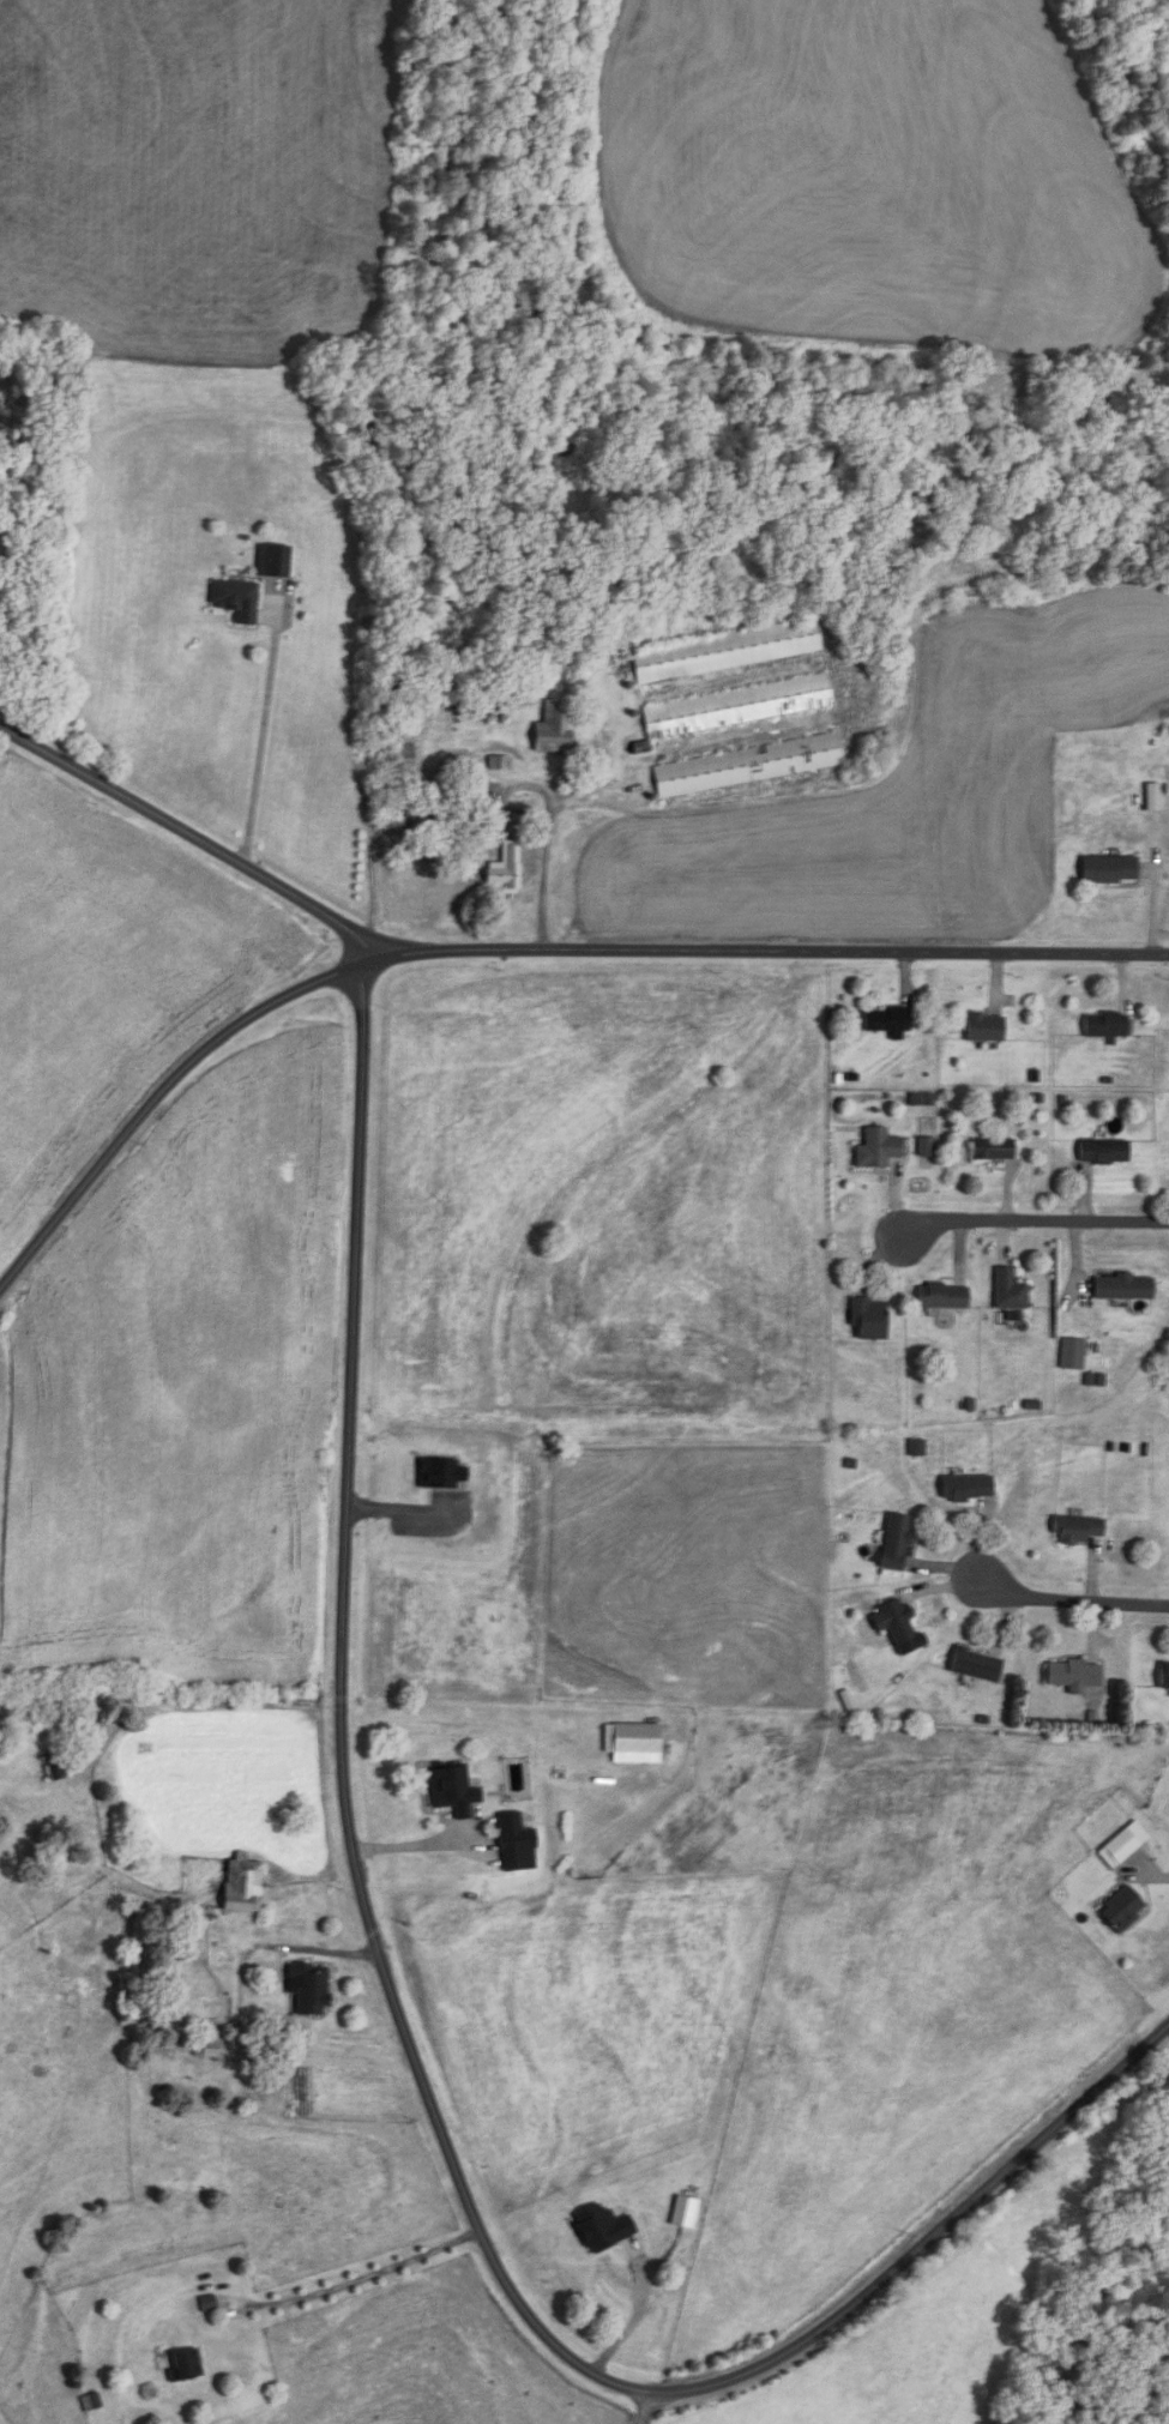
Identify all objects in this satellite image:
building: (240, 601)
building: (729, 651)
building: (740, 707)
road: (264, 725)
building: (558, 729)
building: (501, 762)
building: (751, 766)
building: (405, 768)
building: (478, 788)
building: (1156, 797)
building: (398, 807)
road: (469, 807)
road: (193, 834)
building: (507, 870)
building: (1109, 870)
road: (517, 948)
building: (891, 1023)
building: (1103, 1025)
building: (988, 1027)
building: (879, 1148)
building: (990, 1150)
building: (1101, 1152)
road: (1013, 1229)
building: (1121, 1288)
building: (1007, 1291)
building: (940, 1297)
building: (867, 1320)
building: (916, 1448)
building: (964, 1490)
road: (405, 1511)
building: (1077, 1531)
building: (893, 1543)
road: (1048, 1609)
building: (896, 1623)
building: (974, 1666)
building: (1162, 1676)
building: (1071, 1677)
building: (56, 1767)
building: (456, 1791)
building: (517, 1838)
road: (416, 1841)
building: (1122, 1845)
road: (1158, 1869)
building: (246, 1885)
building: (1120, 1909)
building: (222, 1980)
building: (313, 1988)
road: (409, 2044)
road: (358, 2279)
building: (625, 2284)
road: (635, 2315)
building: (188, 2366)
road: (646, 2407)

